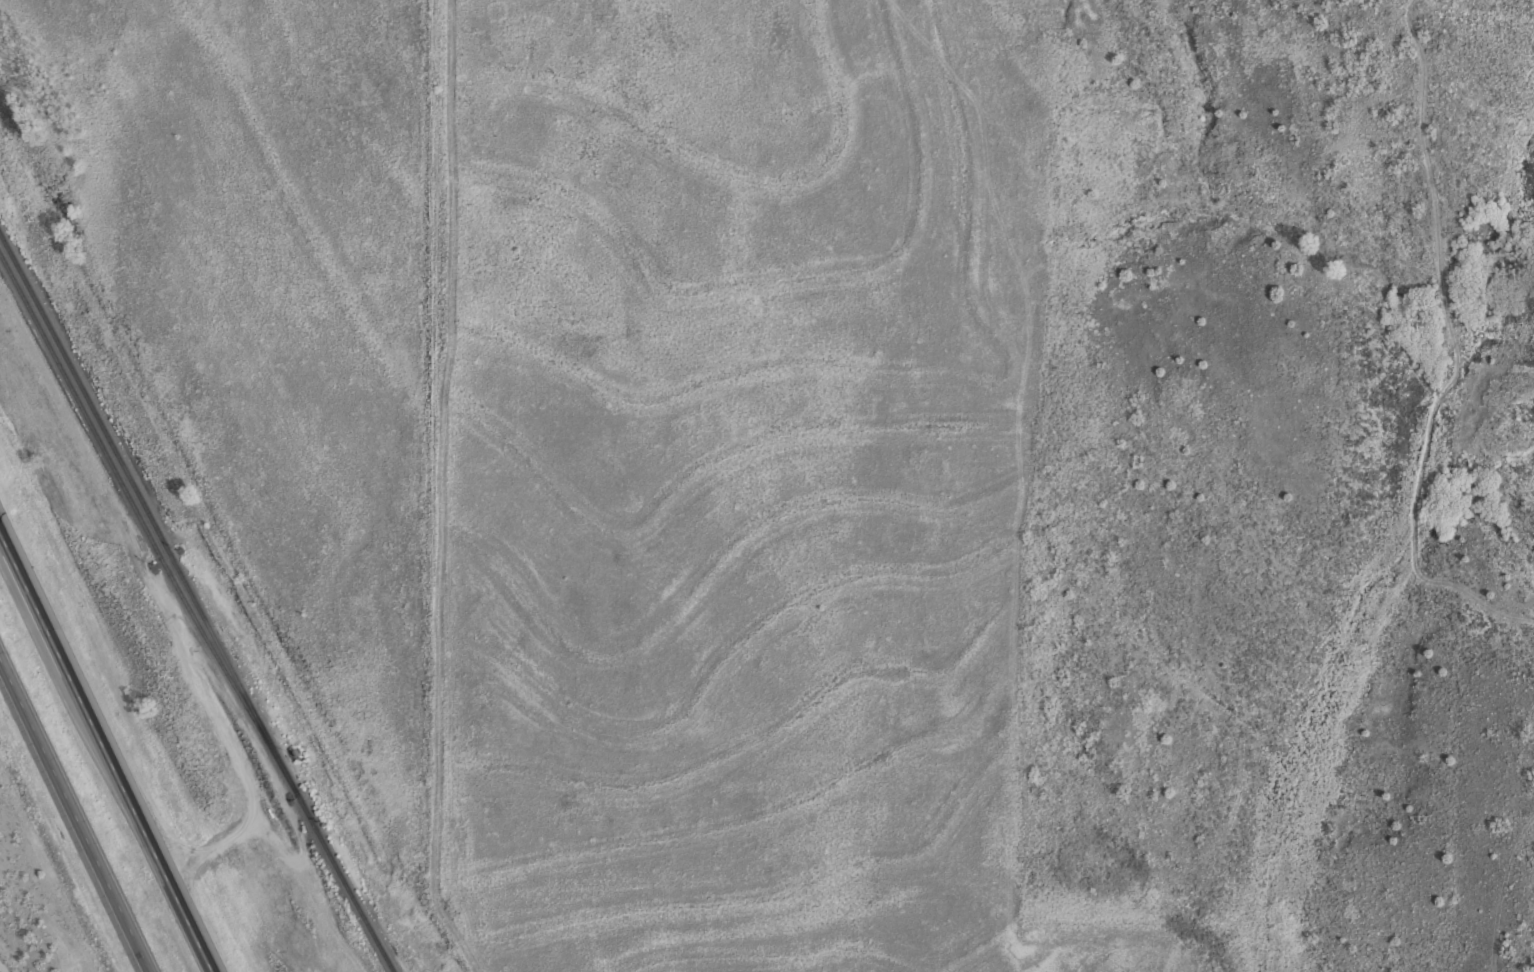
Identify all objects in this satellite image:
railway: (125, 496)
road: (2, 521)
railway: (195, 603)
road: (111, 741)
road: (78, 812)

